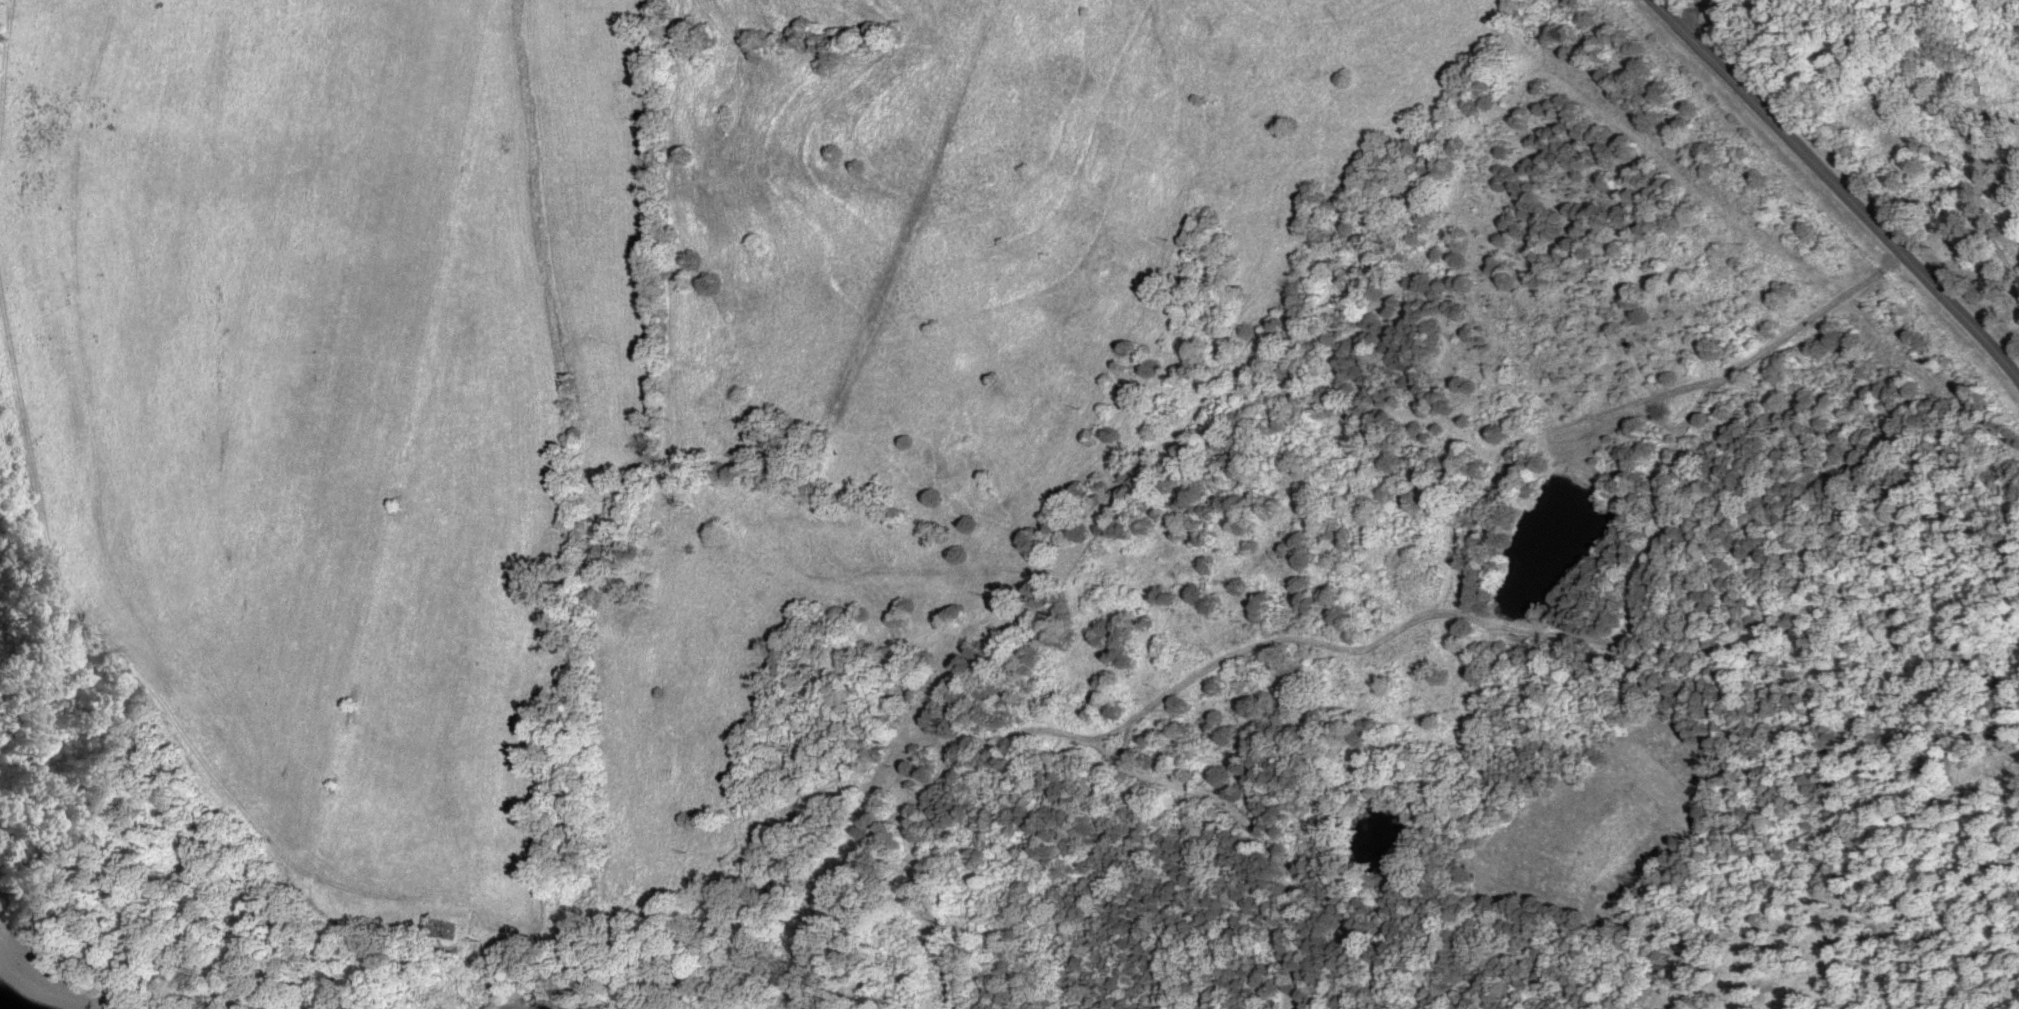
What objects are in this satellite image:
road: (1836, 187)
road: (1979, 200)
road: (2018, 288)
road: (874, 458)
road: (955, 762)

